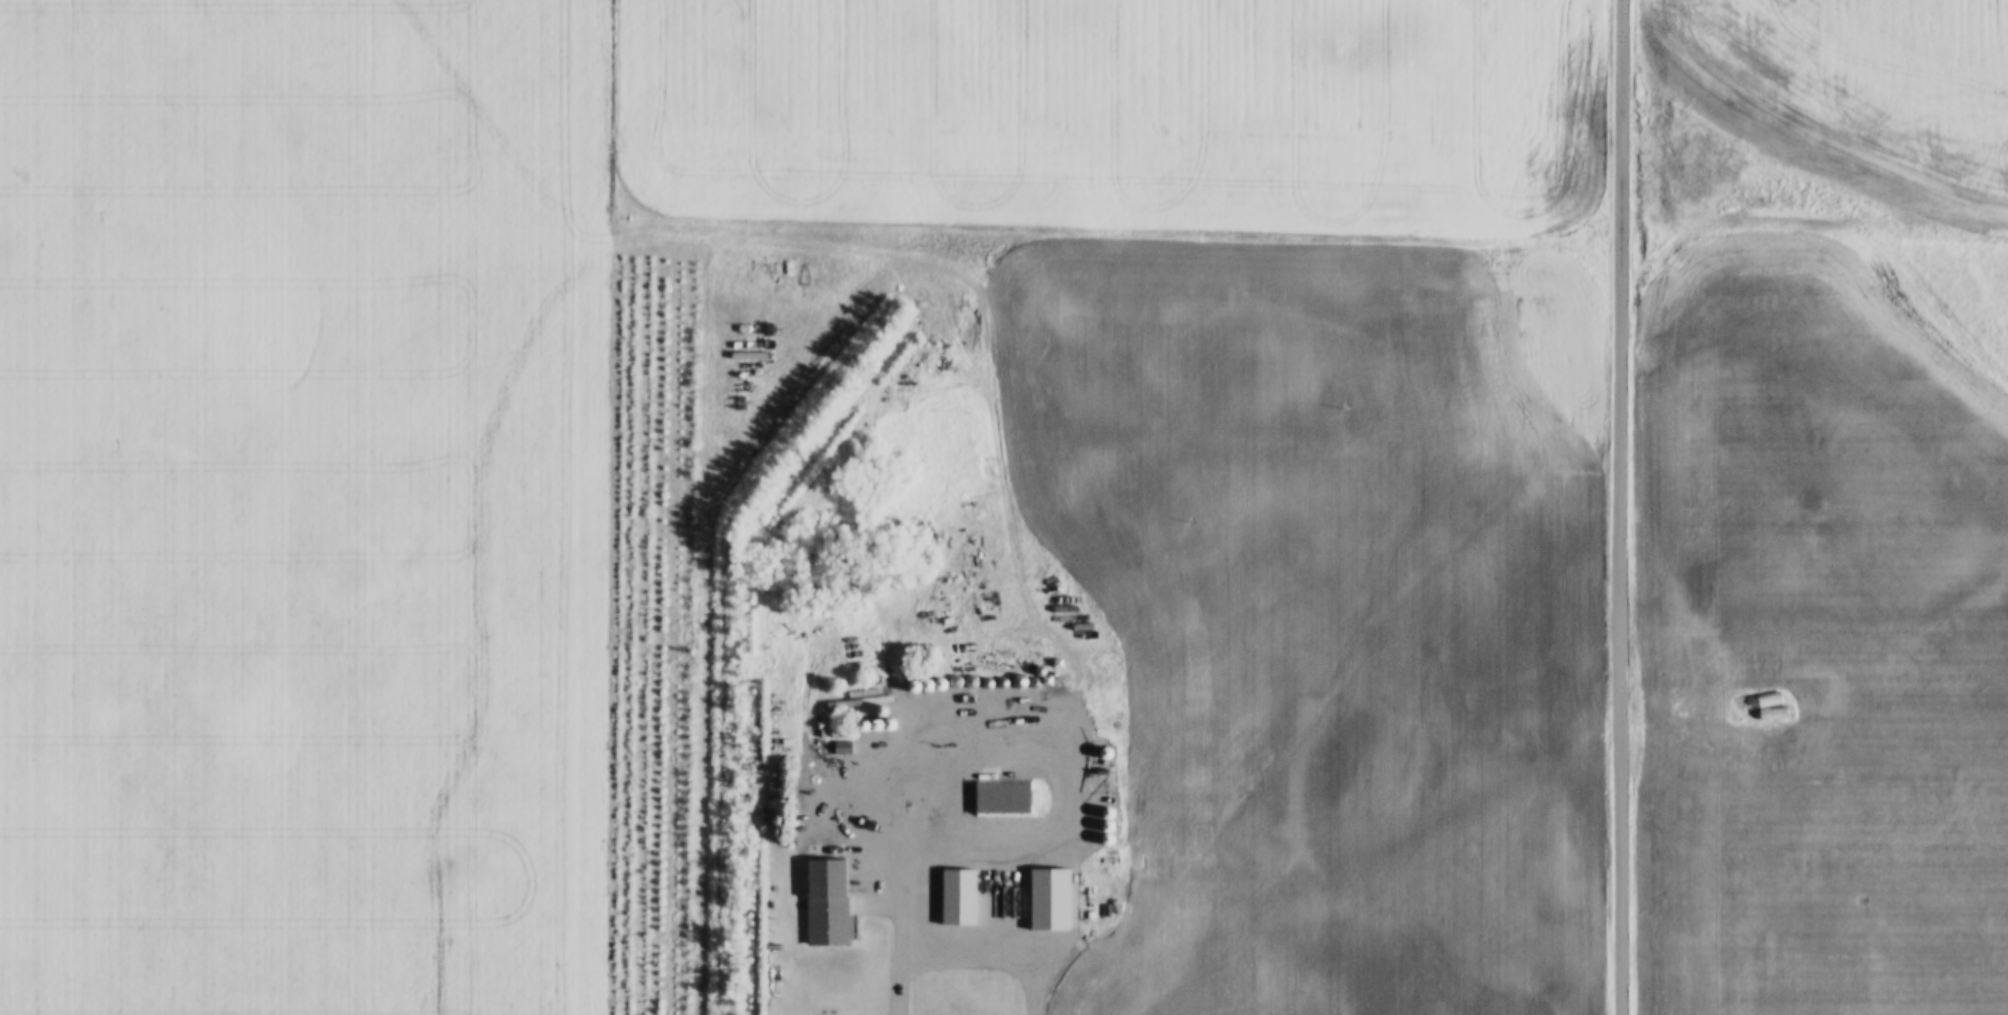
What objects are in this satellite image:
road: (1623, 507)
building: (849, 746)
building: (773, 779)
building: (1011, 797)
road: (900, 890)
building: (1053, 898)
building: (833, 901)

